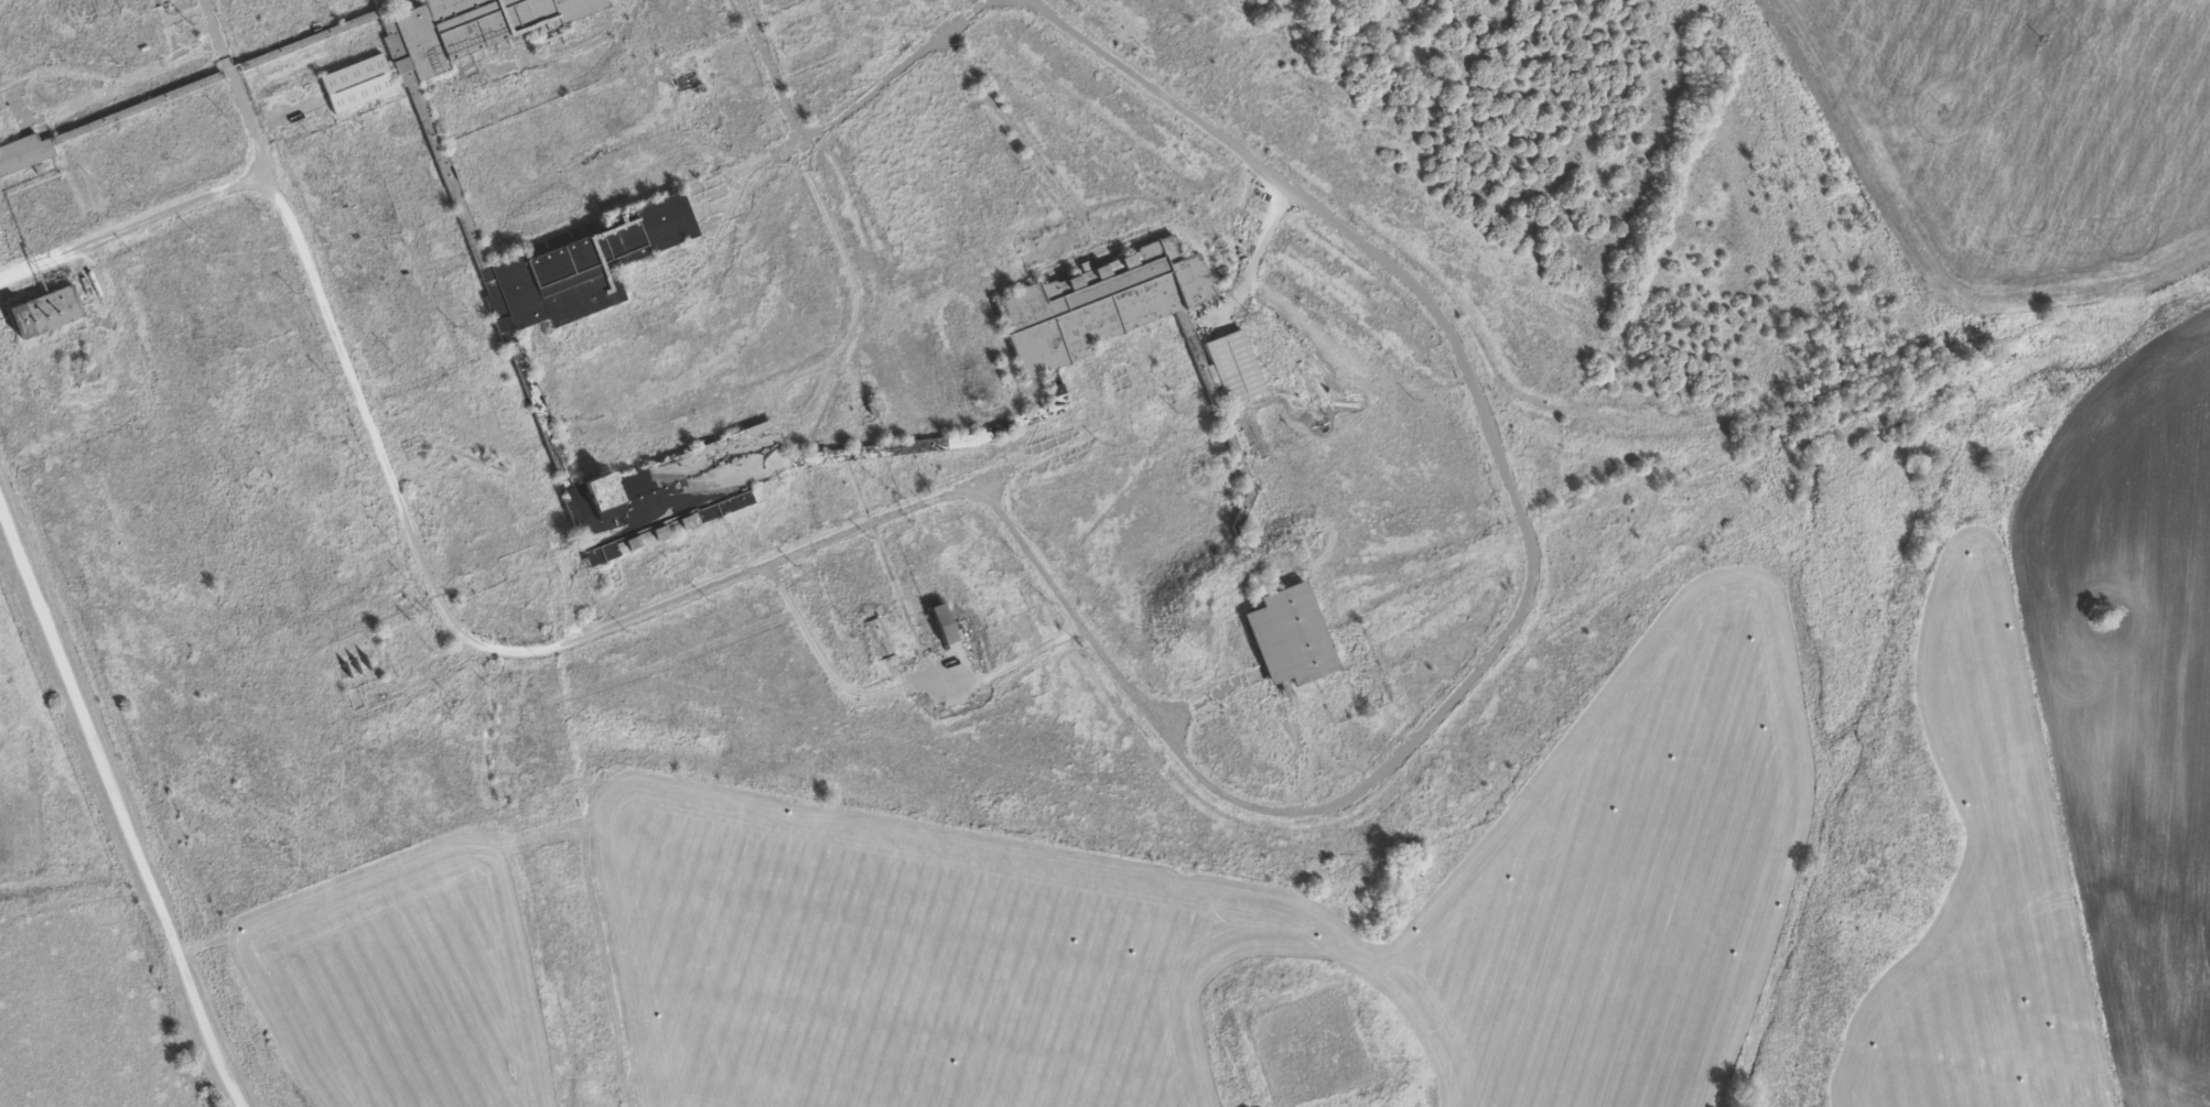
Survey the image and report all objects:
building: (94, 1)
railway: (988, 40)
road: (553, 54)
road: (777, 84)
road: (854, 101)
road: (52, 108)
road: (285, 112)
road: (1024, 138)
road: (134, 224)
railway: (1334, 301)
building: (43, 311)
building: (1054, 349)
railway: (1765, 436)
road: (1528, 589)
road: (567, 592)
building: (940, 621)
road: (470, 636)
road: (840, 677)
road: (115, 804)

